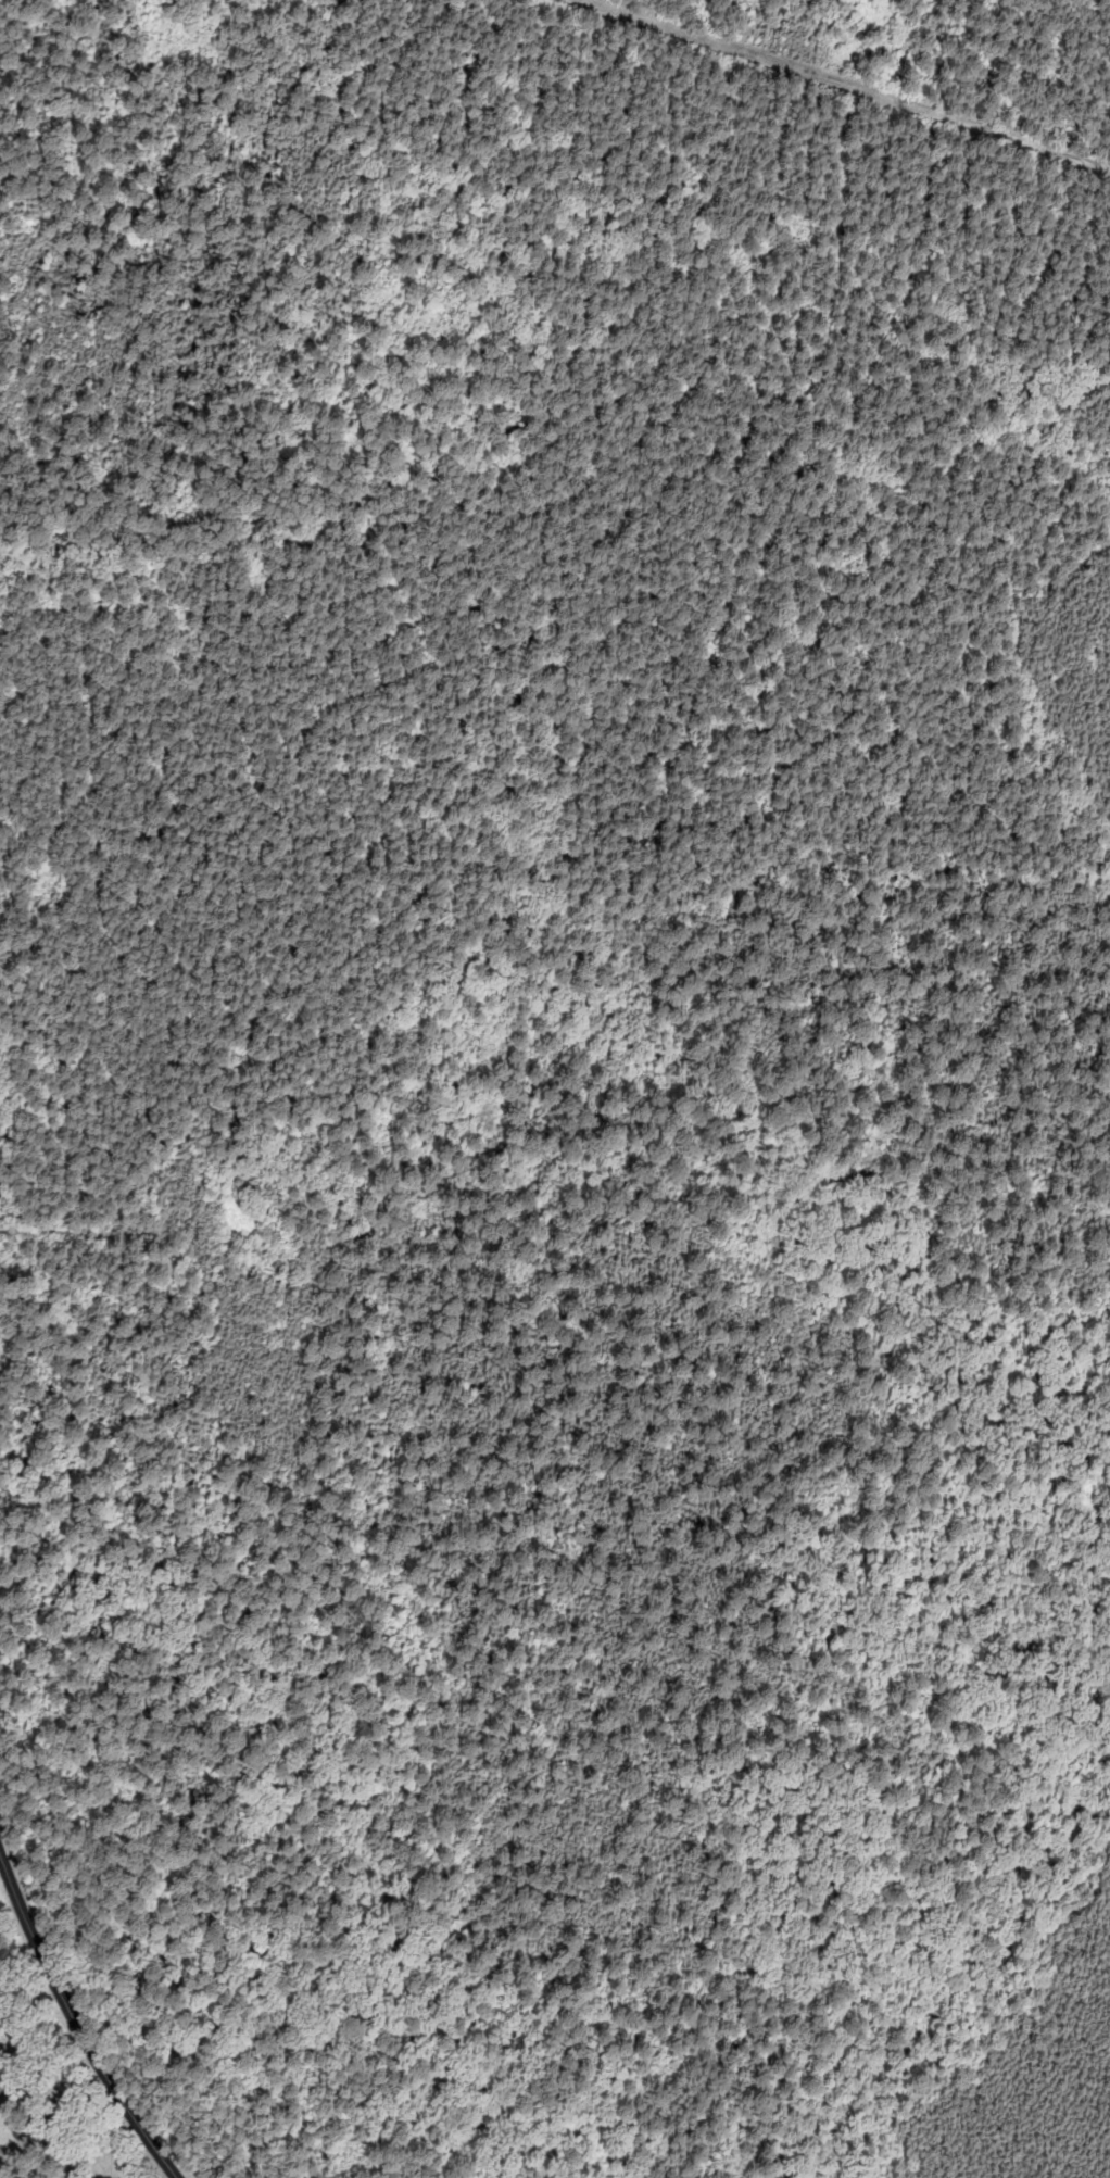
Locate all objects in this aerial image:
road: (847, 80)
road: (77, 2022)

